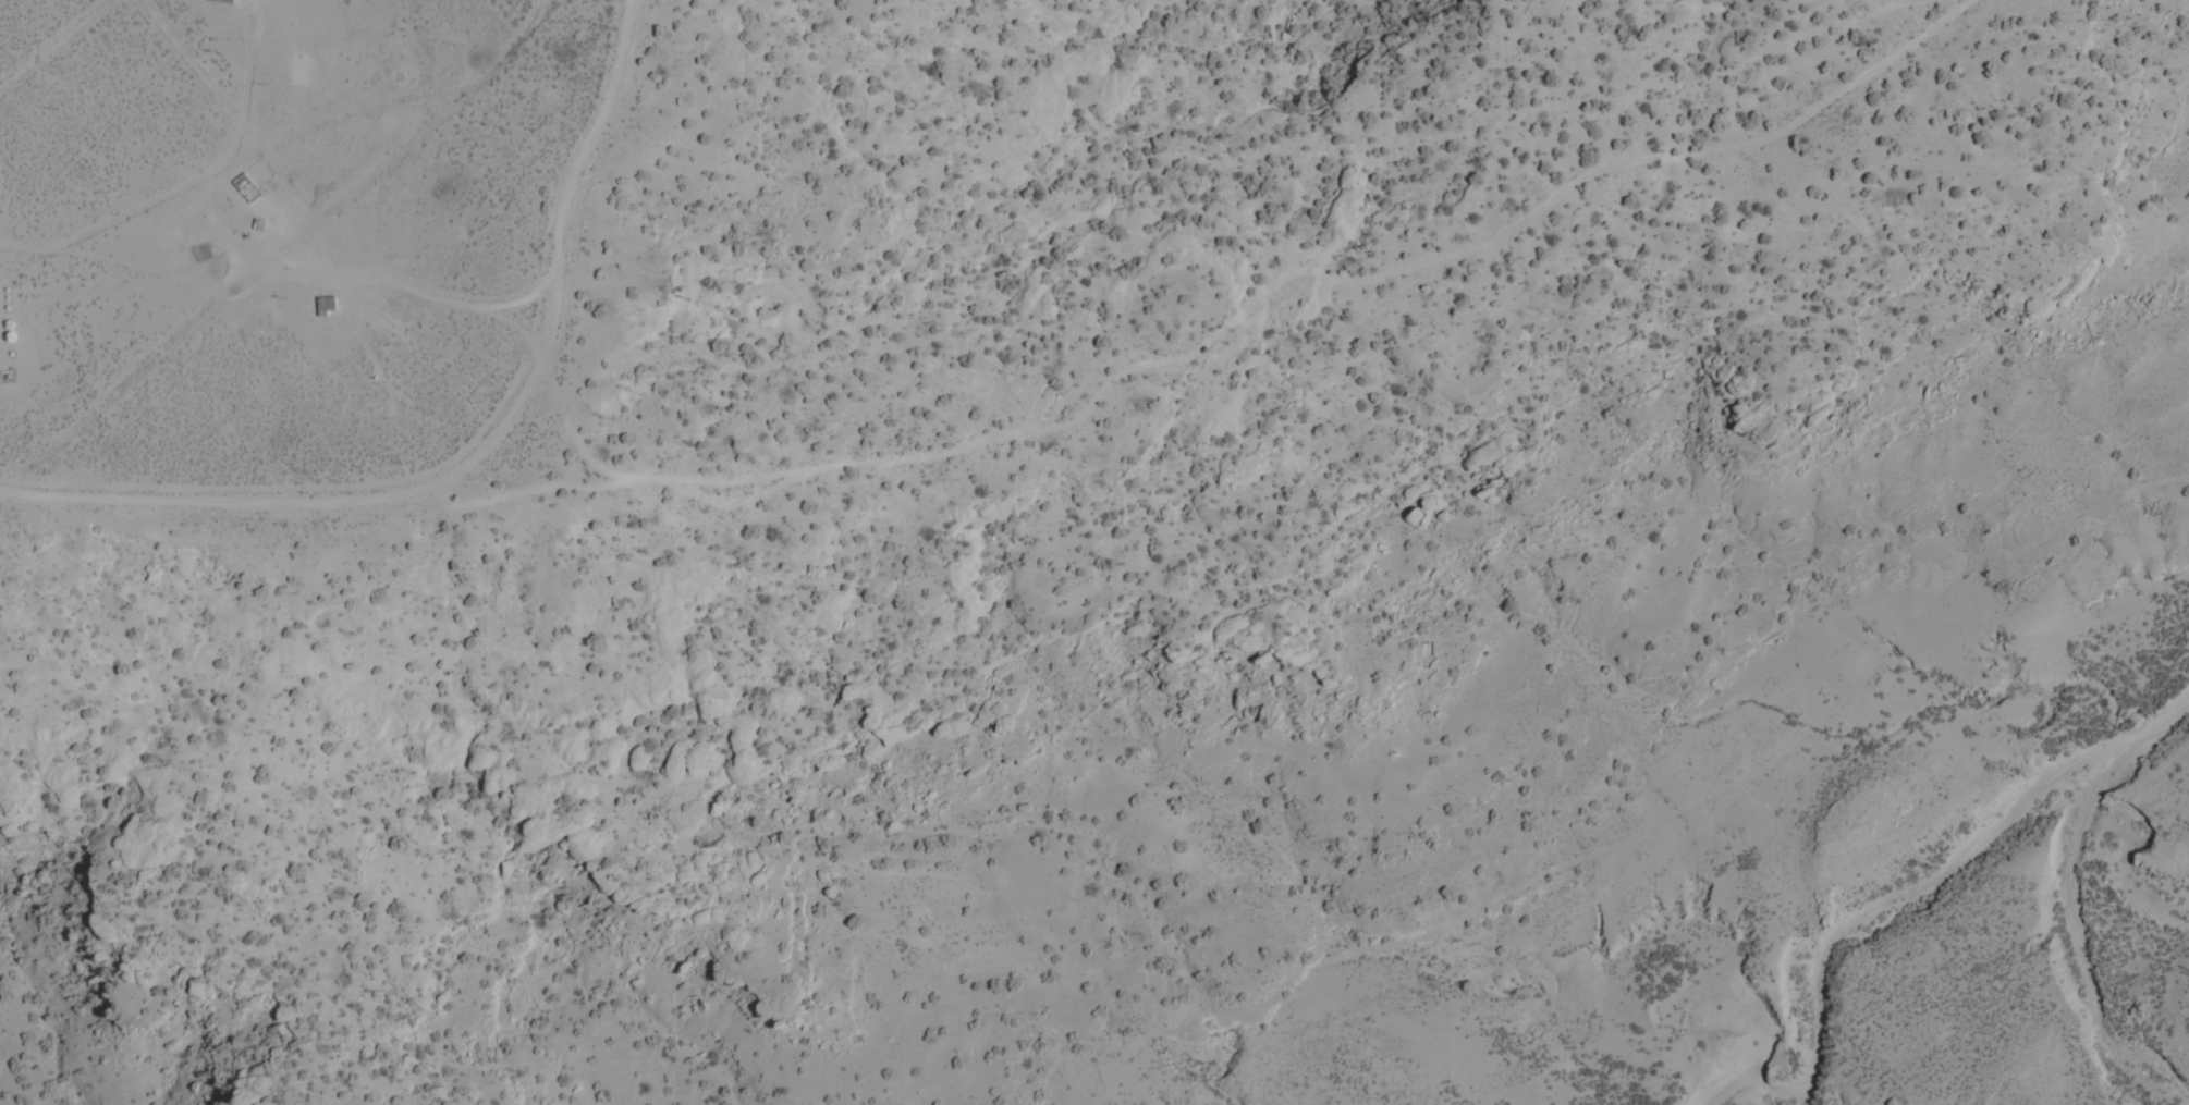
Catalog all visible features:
building: (218, 1)
road: (617, 47)
road: (557, 211)
building: (195, 253)
road: (1301, 270)
building: (322, 304)
road: (41, 496)
road: (353, 499)

